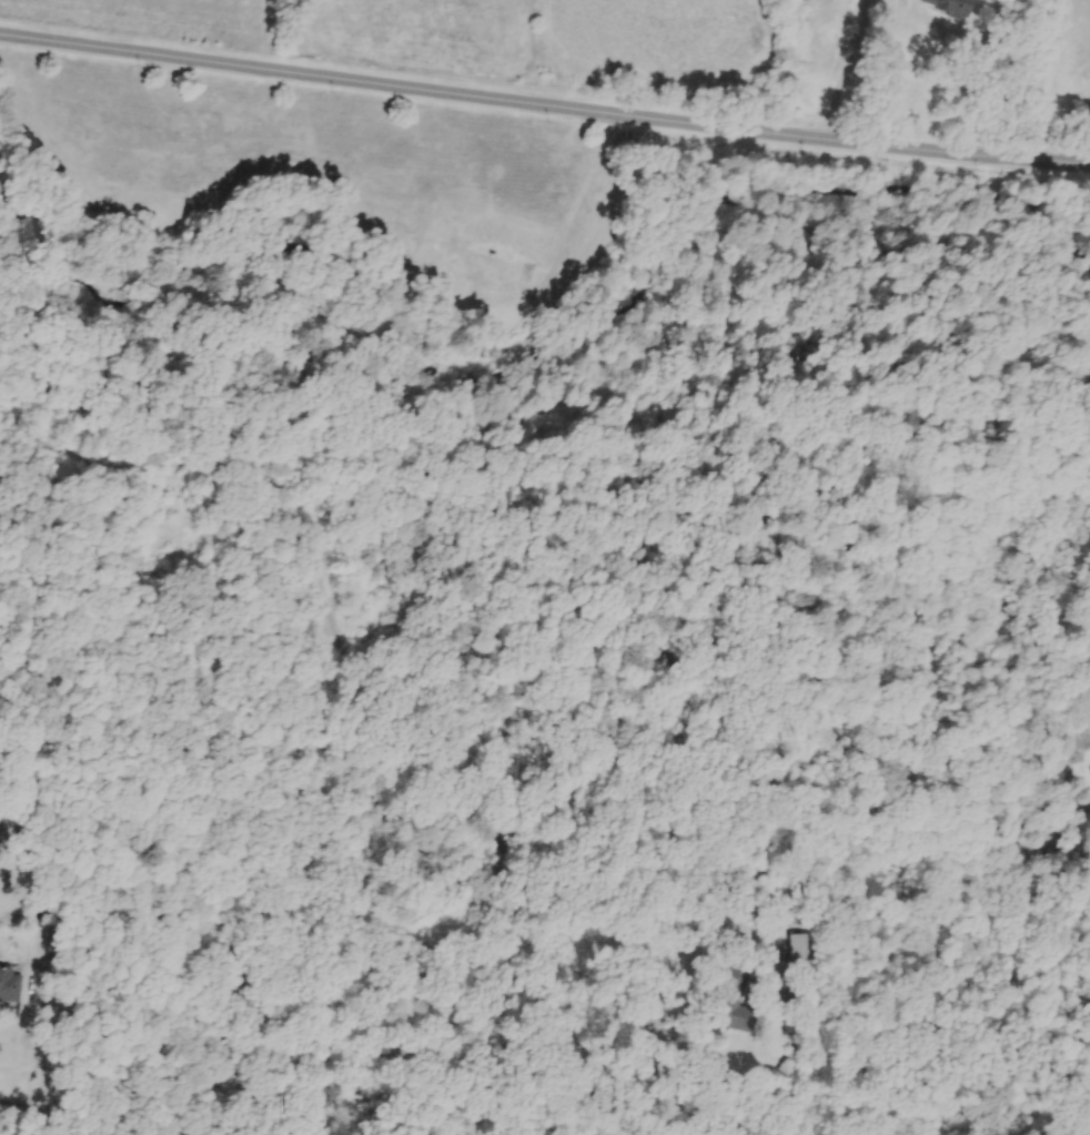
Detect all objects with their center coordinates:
road: (845, 70)
road: (544, 102)
park: (1064, 303)
road: (1082, 351)
park: (529, 500)
road: (1011, 717)
building: (1084, 738)
road: (556, 808)
building: (1022, 842)
road: (1063, 842)
road: (819, 853)
building: (808, 947)
road: (33, 967)
building: (14, 990)
building: (740, 1000)

